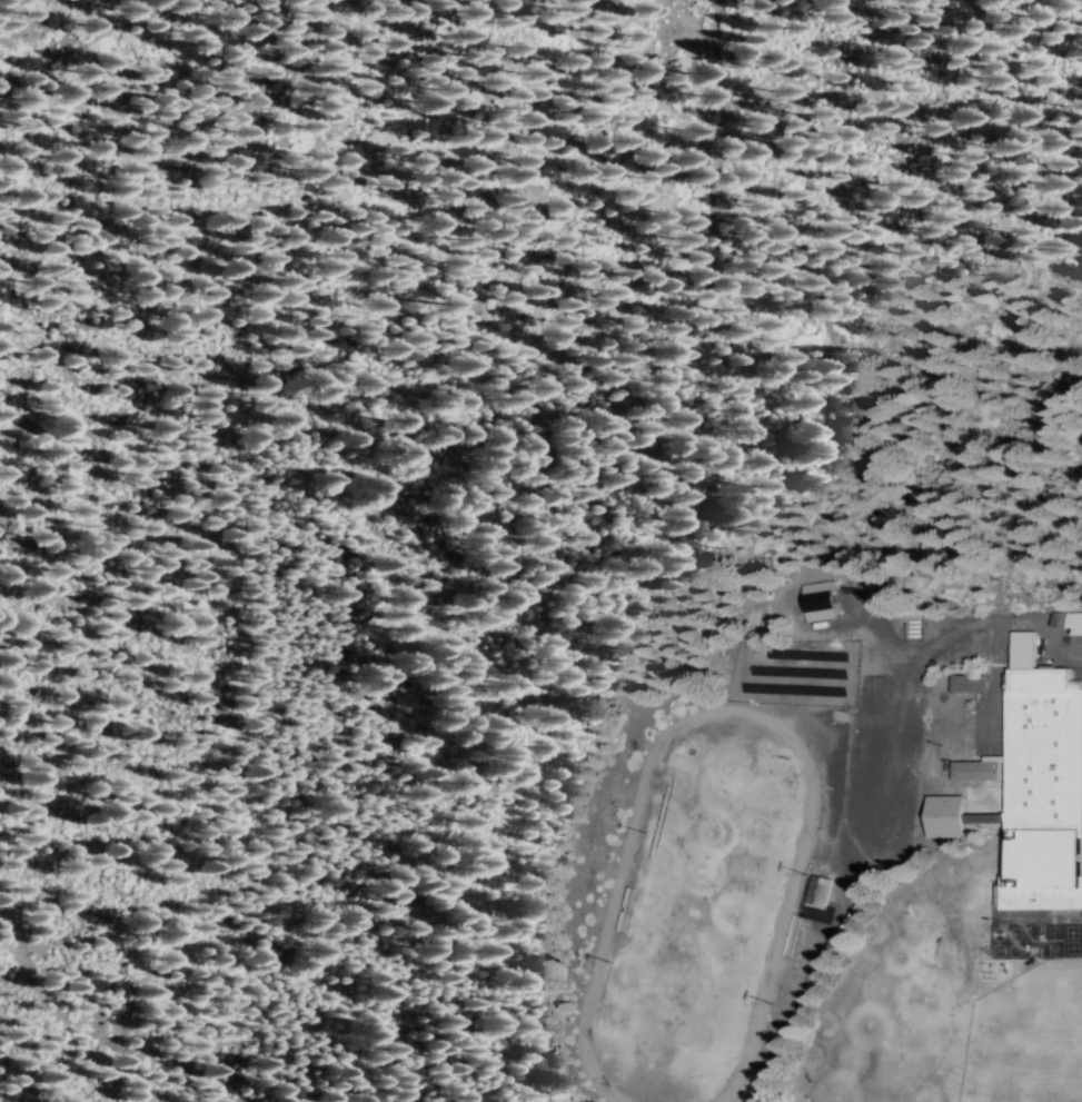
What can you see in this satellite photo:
building: (820, 600)
building: (1068, 621)
building: (969, 683)
building: (1036, 786)
building: (946, 816)
building: (818, 890)

